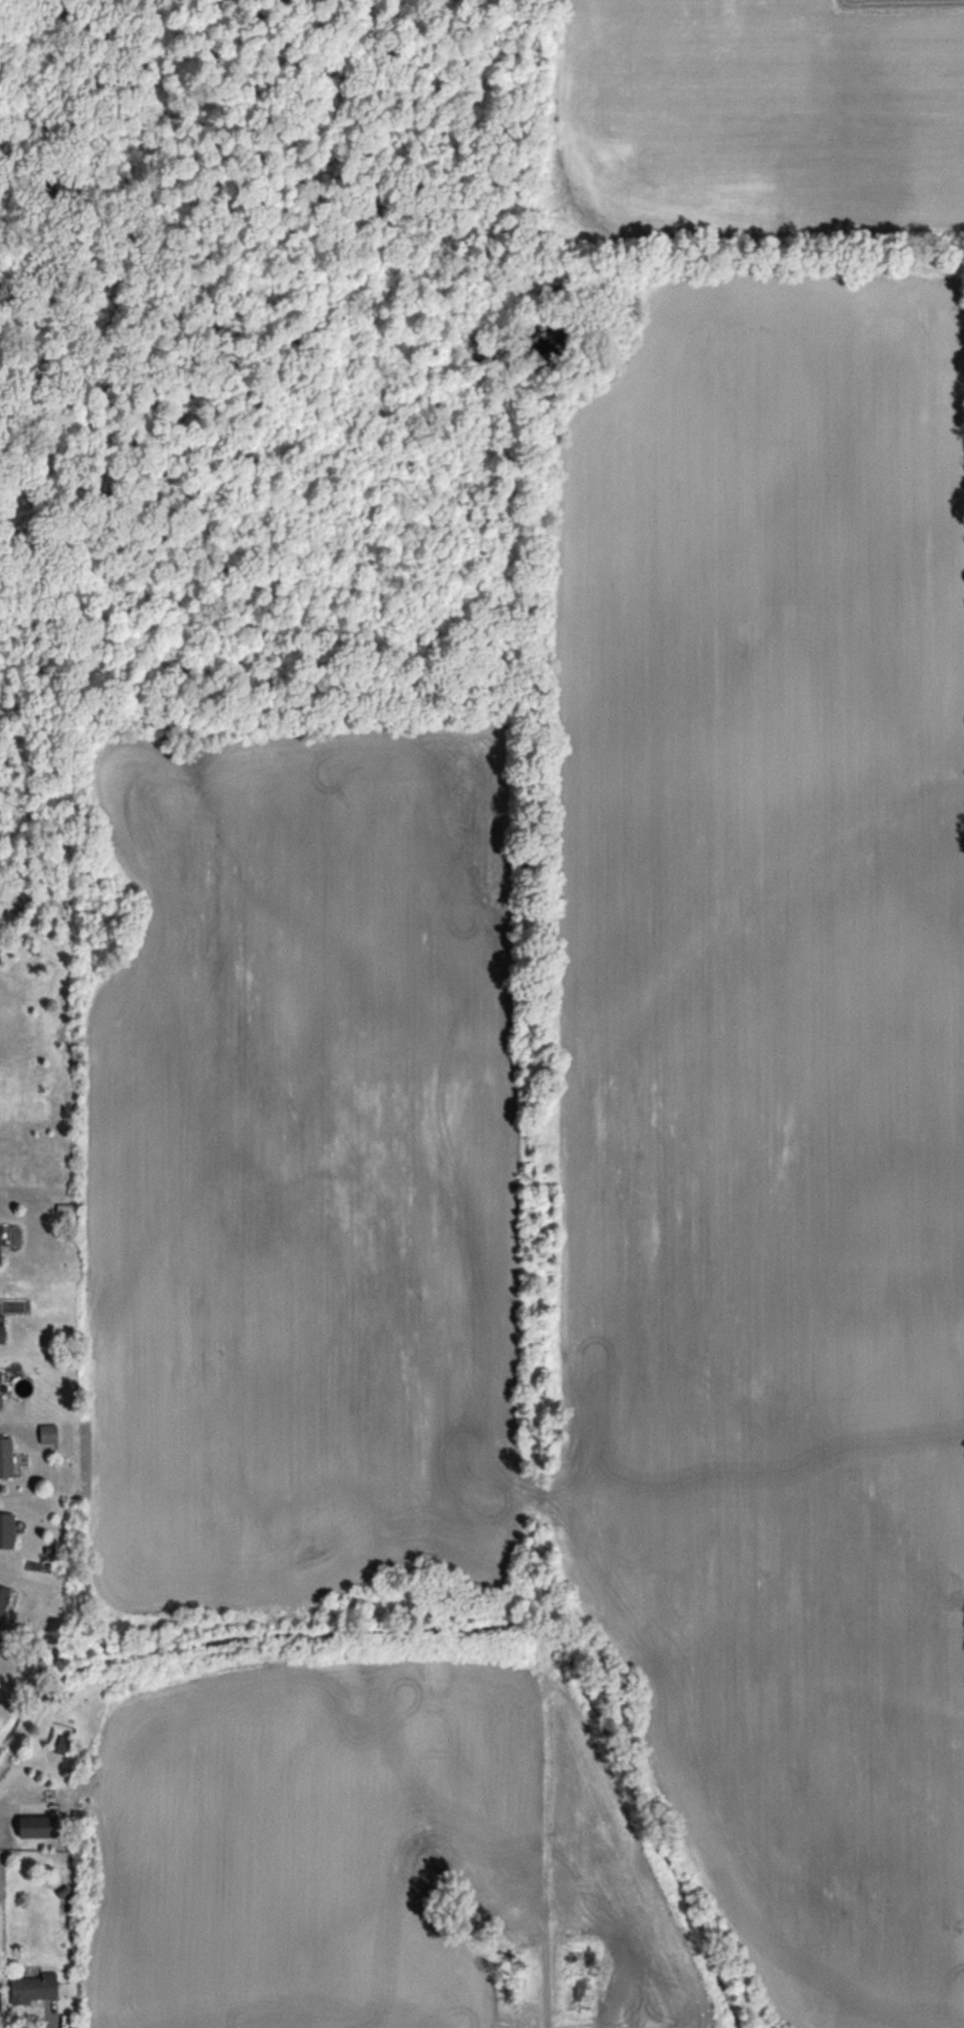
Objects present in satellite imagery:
building: (4, 1234)
building: (2, 1333)
building: (47, 1433)
building: (6, 1456)
building: (6, 1530)
building: (3, 1601)
building: (36, 1826)
building: (33, 1988)

